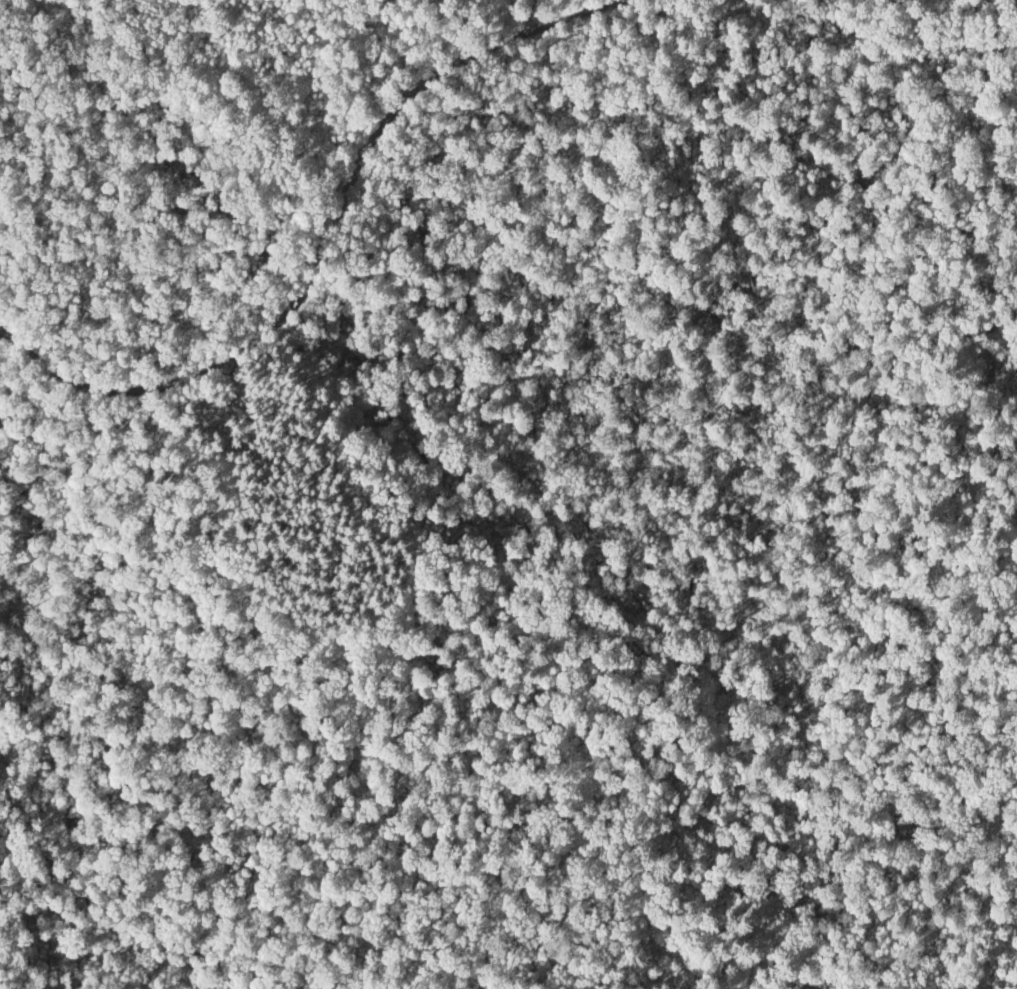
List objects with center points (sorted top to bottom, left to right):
road: (325, 247)

